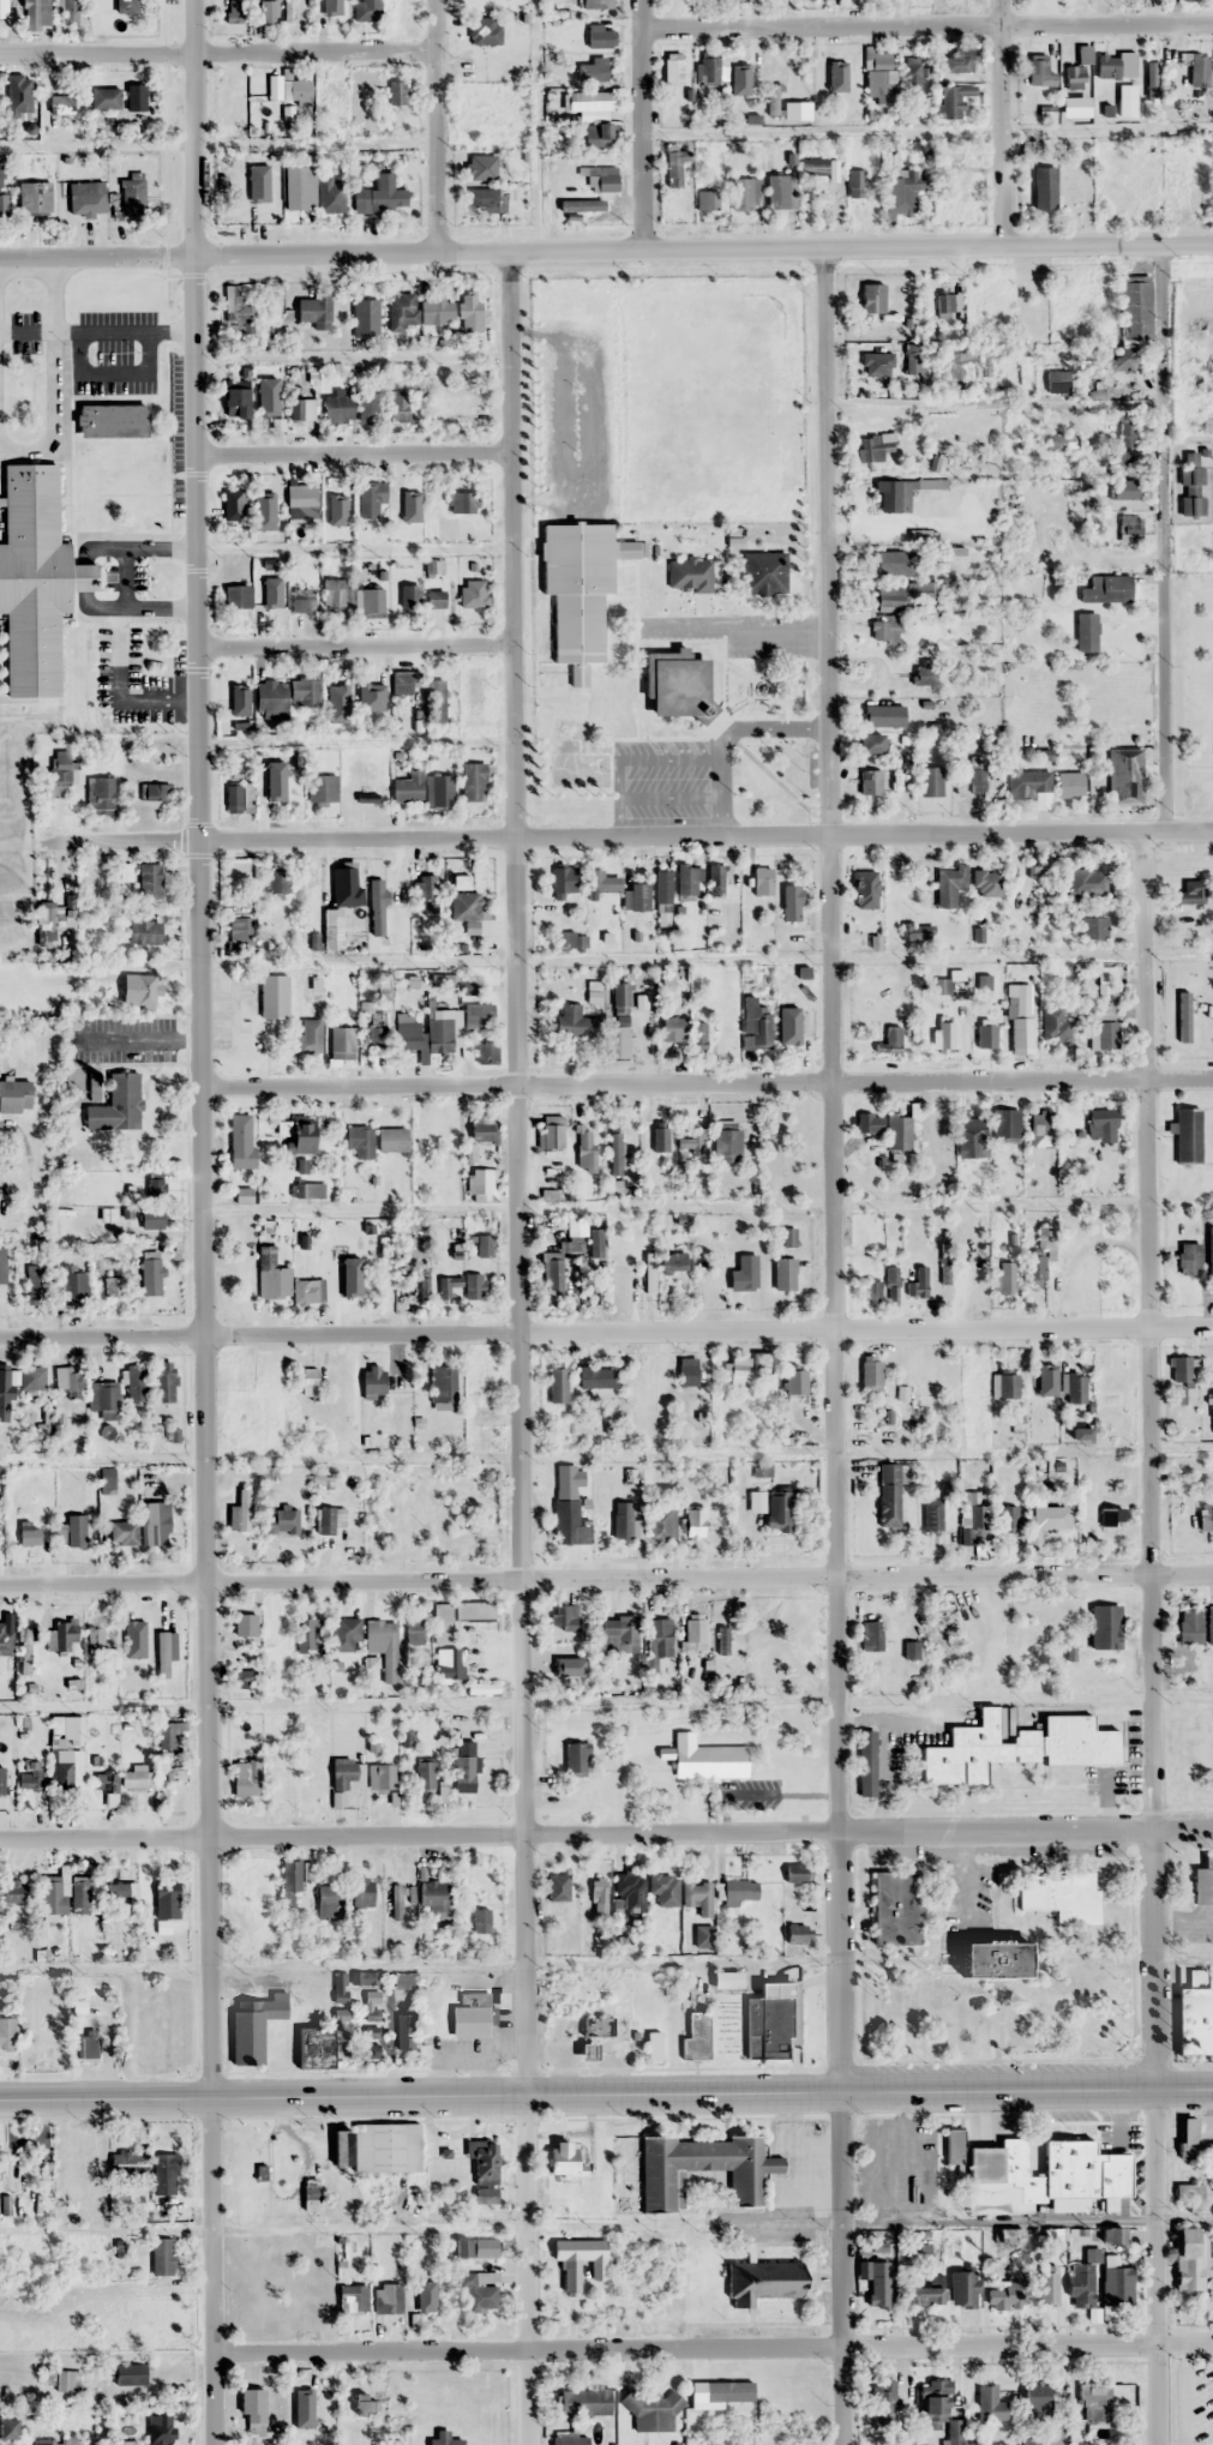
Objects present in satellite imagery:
building: (476, 4)
building: (593, 4)
building: (2, 6)
building: (67, 6)
building: (125, 6)
building: (334, 10)
building: (365, 10)
building: (395, 10)
building: (234, 11)
building: (289, 11)
building: (35, 12)
building: (265, 12)
road: (927, 28)
building: (484, 30)
building: (599, 36)
road: (215, 56)
building: (957, 61)
building: (1115, 65)
building: (744, 67)
building: (593, 70)
building: (1197, 70)
building: (845, 71)
building: (672, 72)
building: (1152, 72)
building: (774, 73)
building: (1039, 73)
building: (913, 76)
building: (879, 77)
building: (1074, 78)
building: (329, 90)
building: (295, 91)
building: (397, 92)
building: (17, 96)
building: (134, 97)
building: (103, 98)
building: (588, 101)
building: (953, 101)
building: (56, 104)
building: (260, 106)
building: (789, 108)
road: (998, 121)
road: (642, 122)
road: (432, 124)
road: (194, 125)
building: (596, 136)
building: (1037, 149)
building: (481, 167)
building: (674, 168)
building: (600, 176)
building: (1199, 181)
building: (855, 182)
building: (299, 187)
building: (1043, 187)
building: (1118, 187)
building: (957, 190)
building: (1175, 190)
building: (902, 191)
building: (1073, 191)
building: (2, 192)
building: (85, 192)
building: (779, 192)
building: (746, 193)
building: (132, 194)
building: (330, 194)
building: (260, 196)
building: (379, 196)
building: (34, 197)
building: (485, 199)
building: (707, 199)
building: (580, 205)
road: (606, 246)
building: (865, 296)
building: (948, 302)
building: (234, 308)
building: (436, 310)
building: (401, 311)
building: (313, 312)
building: (468, 312)
building: (365, 317)
building: (1130, 323)
building: (911, 358)
building: (876, 362)
building: (1056, 382)
road: (993, 401)
building: (454, 403)
building: (234, 404)
building: (264, 407)
building: (367, 407)
building: (400, 407)
building: (336, 408)
building: (295, 409)
building: (110, 420)
building: (1127, 428)
building: (1061, 440)
building: (873, 446)
road: (354, 455)
building: (1119, 462)
building: (1190, 486)
building: (1123, 488)
building: (894, 494)
building: (301, 495)
building: (404, 495)
building: (332, 499)
building: (370, 499)
building: (265, 501)
building: (460, 501)
building: (232, 503)
building: (1128, 524)
road: (1164, 536)
building: (1113, 558)
building: (893, 561)
building: (763, 572)
building: (34, 578)
building: (578, 588)
building: (1105, 589)
building: (335, 593)
building: (472, 593)
building: (268, 595)
building: (236, 596)
building: (888, 596)
building: (408, 597)
building: (434, 599)
building: (301, 600)
building: (368, 602)
building: (884, 627)
building: (1086, 630)
road: (355, 645)
building: (924, 673)
building: (402, 681)
building: (675, 684)
building: (473, 687)
building: (304, 691)
building: (337, 692)
building: (238, 696)
building: (371, 696)
building: (269, 698)
building: (436, 699)
building: (883, 715)
building: (869, 743)
building: (61, 768)
building: (977, 776)
building: (1124, 777)
building: (866, 780)
building: (930, 780)
building: (473, 781)
building: (1069, 783)
building: (278, 785)
building: (319, 787)
building: (407, 787)
building: (1031, 787)
building: (438, 789)
building: (155, 791)
building: (355, 791)
building: (98, 794)
building: (232, 798)
road: (627, 837)
building: (860, 873)
building: (89, 875)
building: (563, 878)
building: (689, 878)
building: (715, 879)
building: (761, 879)
building: (150, 881)
building: (277, 881)
building: (600, 881)
building: (1086, 881)
building: (344, 883)
building: (986, 883)
building: (949, 884)
building: (428, 889)
building: (1190, 893)
building: (638, 896)
building: (662, 896)
building: (791, 902)
building: (396, 903)
building: (376, 906)
building: (464, 906)
building: (44, 921)
building: (1093, 927)
building: (143, 932)
building: (239, 932)
building: (912, 932)
building: (571, 939)
building: (139, 990)
building: (594, 990)
building: (1109, 990)
building: (274, 996)
building: (620, 998)
building: (478, 1015)
building: (575, 1023)
building: (755, 1023)
building: (1055, 1025)
building: (673, 1028)
building: (1023, 1032)
building: (795, 1033)
building: (438, 1034)
building: (944, 1034)
building: (986, 1034)
building: (1106, 1034)
building: (407, 1035)
building: (376, 1037)
building: (307, 1038)
building: (697, 1038)
building: (891, 1038)
building: (619, 1040)
building: (341, 1041)
building: (486, 1052)
road: (708, 1083)
building: (16, 1095)
building: (116, 1105)
building: (869, 1123)
building: (1005, 1124)
building: (1100, 1125)
building: (481, 1129)
building: (1039, 1129)
building: (551, 1131)
building: (897, 1131)
building: (1187, 1135)
building: (969, 1136)
building: (300, 1137)
building: (660, 1139)
building: (391, 1140)
building: (359, 1141)
building: (726, 1141)
building: (690, 1143)
building: (584, 1148)
building: (241, 1154)
building: (791, 1161)
road: (830, 1167)
road: (517, 1171)
road: (204, 1173)
building: (479, 1181)
building: (154, 1221)
building: (595, 1244)
building: (482, 1245)
building: (1209, 1252)
building: (560, 1257)
building: (1188, 1258)
building: (671, 1262)
building: (2, 1266)
building: (1035, 1270)
building: (744, 1273)
building: (783, 1274)
building: (271, 1275)
building: (1004, 1275)
building: (152, 1276)
building: (618, 1279)
building: (34, 1282)
building: (74, 1282)
building: (918, 1282)
building: (472, 1285)
building: (114, 1286)
building: (350, 1286)
building: (891, 1286)
building: (446, 1287)
building: (870, 1290)
building: (307, 1291)
road: (606, 1330)
building: (761, 1362)
building: (686, 1371)
building: (739, 1371)
building: (870, 1374)
building: (1183, 1375)
building: (595, 1376)
building: (34, 1378)
building: (794, 1380)
building: (70, 1381)
building: (308, 1381)
building: (167, 1382)
building: (372, 1382)
building: (137, 1383)
building: (476, 1383)
building: (404, 1384)
building: (557, 1384)
building: (1004, 1386)
building: (443, 1387)
building: (1075, 1387)
building: (1043, 1390)
building: (5, 1395)
building: (103, 1395)
building: (1211, 1406)
road: (1148, 1462)
building: (560, 1474)
building: (108, 1480)
building: (888, 1495)
building: (776, 1507)
building: (240, 1512)
building: (931, 1514)
building: (1212, 1515)
building: (1049, 1516)
building: (1008, 1518)
building: (330, 1519)
building: (568, 1519)
building: (972, 1519)
building: (621, 1520)
building: (283, 1521)
building: (692, 1521)
building: (156, 1524)
building: (657, 1524)
building: (1111, 1524)
building: (77, 1531)
building: (29, 1533)
building: (120, 1533)
road: (606, 1580)
building: (473, 1610)
building: (564, 1616)
building: (439, 1623)
building: (244, 1624)
building: (1189, 1624)
building: (1209, 1624)
building: (1104, 1627)
building: (306, 1632)
building: (414, 1632)
building: (620, 1632)
building: (1022, 1632)
building: (344, 1634)
building: (693, 1634)
building: (870, 1635)
building: (62, 1636)
building: (657, 1638)
building: (6, 1639)
building: (140, 1639)
building: (382, 1641)
building: (97, 1642)
building: (26, 1651)
building: (565, 1664)
building: (446, 1665)
building: (1097, 1676)
building: (244, 1678)
building: (482, 1689)
building: (74, 1728)
building: (467, 1728)
building: (168, 1736)
building: (1015, 1748)
building: (575, 1758)
building: (705, 1759)
building: (865, 1764)
building: (71, 1772)
building: (346, 1774)
building: (464, 1774)
building: (382, 1776)
building: (425, 1776)
building: (245, 1778)
building: (34, 1779)
building: (137, 1779)
building: (107, 1784)
road: (606, 1836)
building: (798, 1876)
building: (289, 1879)
building: (1202, 1885)
building: (557, 1887)
building: (663, 1888)
building: (627, 1891)
building: (739, 1891)
building: (16, 1892)
building: (362, 1892)
building: (124, 1893)
building: (262, 1894)
building: (433, 1896)
building: (1059, 1896)
building: (55, 1897)
building: (86, 1897)
building: (598, 1897)
building: (698, 1898)
building: (169, 1900)
building: (329, 1902)
building: (397, 1902)
building: (895, 1909)
building: (480, 1911)
building: (797, 1933)
building: (702, 1935)
building: (990, 1962)
building: (366, 1977)
building: (340, 1978)
building: (404, 1980)
building: (725, 1980)
building: (371, 2014)
building: (469, 2016)
building: (768, 2022)
building: (341, 2024)
building: (1194, 2025)
building: (596, 2026)
building: (251, 2028)
building: (404, 2031)
building: (7, 2034)
building: (697, 2035)
building: (653, 2045)
building: (90, 2047)
building: (314, 2048)
road: (606, 2095)
building: (1191, 2140)
building: (341, 2146)
building: (386, 2146)
building: (560, 2155)
building: (482, 2159)
building: (1021, 2162)
building: (130, 2164)
building: (702, 2167)
building: (66, 2173)
building: (166, 2175)
building: (1191, 2195)
building: (553, 2207)
building: (476, 2247)
building: (164, 2258)
building: (1191, 2258)
building: (578, 2260)
road: (1157, 2267)
road: (840, 2269)
road: (527, 2270)
road: (212, 2271)
building: (1083, 2278)
building: (759, 2281)
building: (878, 2283)
building: (1049, 2284)
building: (1117, 2284)
building: (962, 2288)
building: (479, 2290)
building: (926, 2290)
building: (1009, 2291)
building: (352, 2297)
building: (388, 2297)
building: (420, 2300)
road: (1184, 2341)
road: (684, 2348)
building: (130, 2373)
building: (67, 2380)
building: (1037, 2393)
building: (882, 2396)
building: (583, 2401)
building: (933, 2401)
building: (1101, 2401)
building: (990, 2402)
building: (361, 2403)
building: (252, 2404)
building: (299, 2409)
building: (650, 2410)
building: (7, 2427)
building: (158, 2429)
building: (569, 2438)
building: (52, 2440)
building: (905, 2443)

